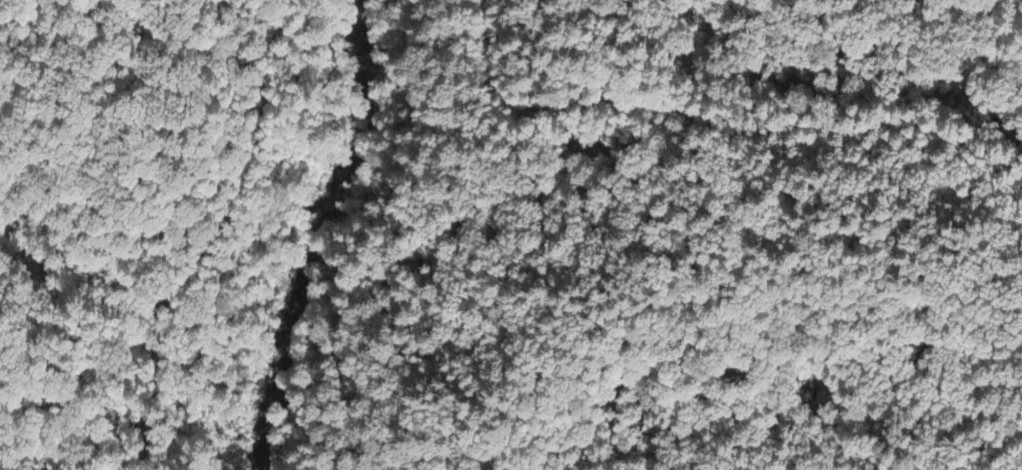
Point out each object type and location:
road: (717, 125)
river: (327, 237)
road: (214, 238)

